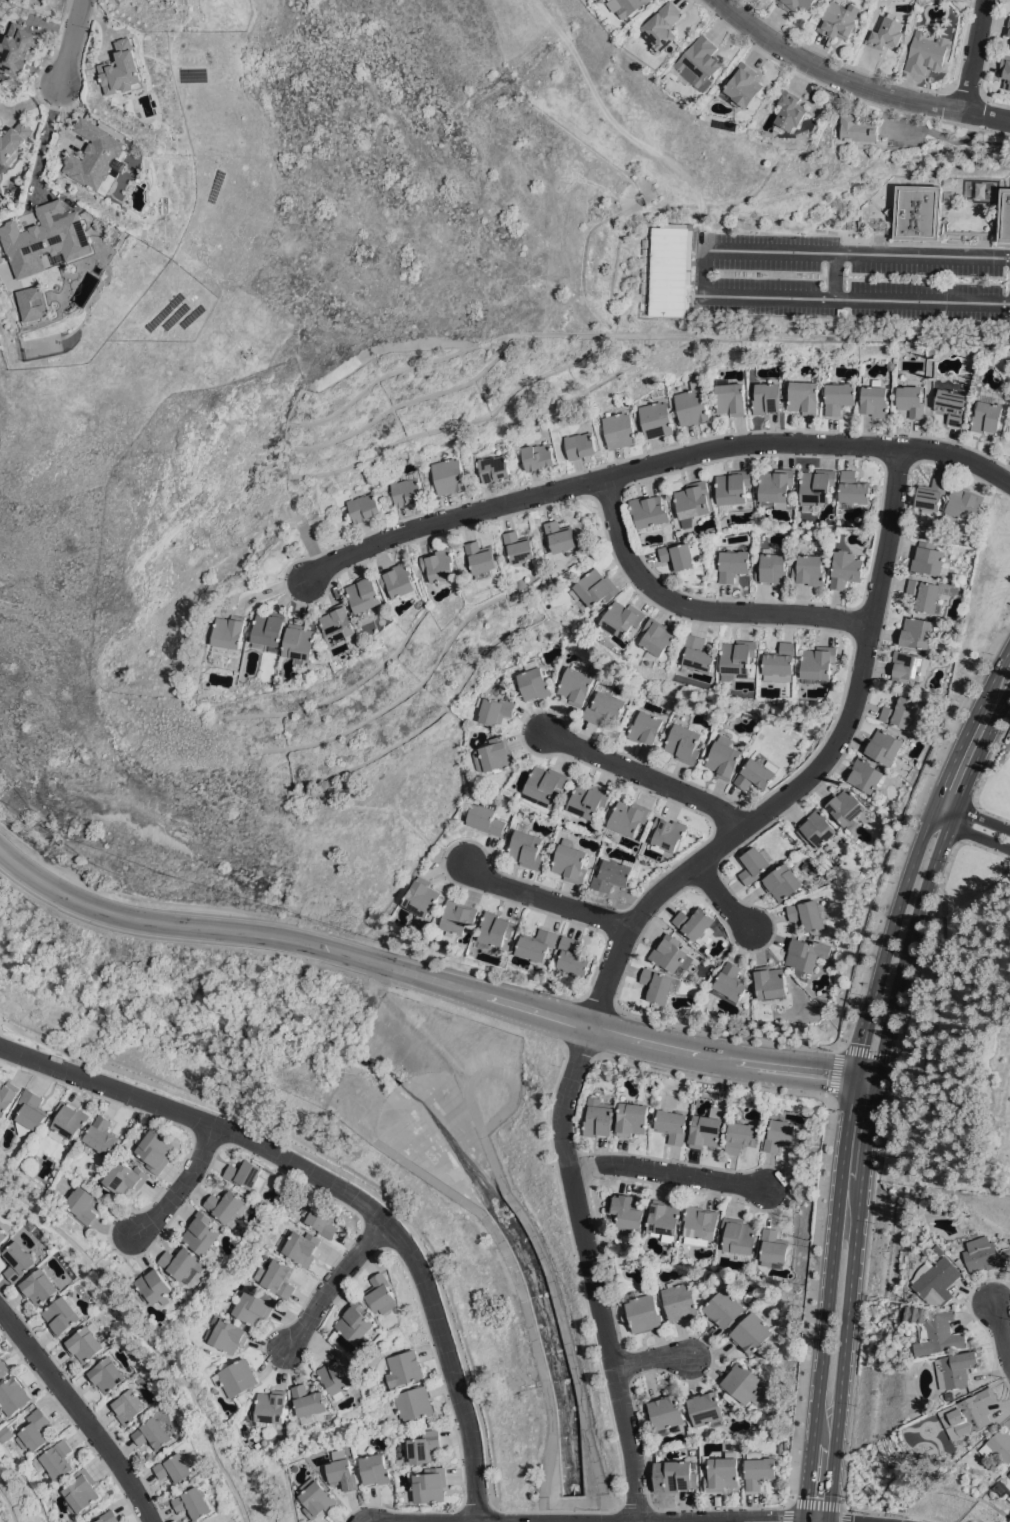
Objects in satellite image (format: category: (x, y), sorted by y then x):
building: (612, 0)
building: (795, 4)
building: (631, 6)
building: (839, 19)
building: (664, 26)
building: (1009, 29)
building: (886, 32)
road: (71, 41)
building: (18, 48)
building: (926, 52)
road: (973, 54)
building: (698, 63)
building: (122, 69)
building: (1006, 70)
road: (854, 81)
building: (743, 85)
road: (887, 101)
building: (790, 111)
road: (975, 119)
road: (947, 120)
road: (926, 127)
building: (858, 128)
road: (973, 128)
road: (46, 137)
building: (13, 142)
building: (96, 157)
building: (1, 202)
building: (916, 212)
building: (1004, 215)
building: (0, 223)
building: (46, 238)
building: (644, 242)
building: (643, 251)
building: (643, 259)
building: (643, 267)
building: (670, 268)
road: (703, 272)
road: (834, 274)
building: (643, 275)
building: (642, 286)
building: (34, 302)
road: (914, 334)
building: (889, 364)
road: (926, 391)
building: (729, 397)
building: (803, 397)
building: (839, 397)
building: (766, 398)
building: (874, 399)
building: (911, 400)
building: (692, 405)
building: (951, 405)
building: (987, 417)
building: (656, 419)
building: (618, 430)
building: (579, 445)
building: (537, 456)
road: (652, 465)
building: (493, 467)
road: (1007, 474)
building: (388, 475)
building: (449, 476)
building: (777, 487)
building: (817, 487)
building: (407, 489)
building: (733, 489)
building: (853, 490)
building: (932, 496)
building: (694, 501)
building: (964, 503)
building: (364, 506)
building: (650, 512)
building: (561, 538)
road: (308, 543)
building: (520, 546)
building: (682, 554)
building: (482, 558)
building: (929, 559)
building: (733, 564)
building: (441, 566)
building: (773, 567)
building: (845, 568)
building: (809, 570)
building: (401, 581)
building: (595, 588)
building: (366, 593)
building: (930, 593)
road: (697, 608)
building: (622, 619)
building: (340, 623)
building: (270, 630)
building: (915, 632)
building: (229, 633)
building: (658, 637)
building: (301, 642)
building: (699, 653)
building: (739, 657)
building: (781, 663)
building: (819, 663)
building: (909, 666)
road: (994, 676)
building: (533, 681)
building: (575, 686)
building: (604, 705)
building: (494, 710)
building: (901, 712)
building: (645, 727)
building: (684, 743)
building: (884, 746)
road: (981, 746)
road: (957, 752)
building: (495, 755)
road: (991, 756)
building: (724, 757)
building: (865, 774)
road: (644, 775)
building: (755, 775)
building: (545, 785)
building: (588, 800)
building: (845, 806)
road: (989, 811)
road: (973, 814)
building: (485, 817)
building: (628, 817)
road: (964, 819)
road: (911, 826)
building: (817, 828)
road: (969, 832)
building: (668, 834)
road: (983, 846)
building: (527, 847)
building: (571, 861)
building: (755, 863)
building: (614, 873)
building: (782, 882)
building: (422, 896)
road: (723, 896)
road: (543, 898)
road: (900, 900)
building: (807, 914)
building: (458, 917)
building: (696, 923)
building: (496, 929)
road: (620, 940)
road: (909, 941)
building: (538, 944)
building: (805, 953)
building: (671, 954)
building: (574, 957)
road: (421, 975)
building: (729, 983)
building: (657, 985)
building: (770, 985)
road: (1, 1019)
road: (414, 1026)
road: (718, 1032)
road: (862, 1040)
road: (843, 1048)
traffic signals: (854, 1077)
road: (705, 1078)
road: (865, 1079)
traffic signals: (876, 1081)
building: (7, 1095)
building: (30, 1112)
building: (599, 1118)
building: (632, 1118)
building: (68, 1121)
building: (672, 1125)
road: (869, 1131)
building: (704, 1132)
building: (778, 1134)
building: (101, 1135)
building: (741, 1136)
road: (846, 1136)
building: (156, 1150)
road: (877, 1168)
building: (245, 1172)
road: (668, 1172)
road: (349, 1173)
building: (126, 1178)
road: (181, 1185)
road: (343, 1188)
building: (81, 1202)
building: (226, 1205)
building: (629, 1213)
building: (665, 1219)
building: (324, 1220)
building: (701, 1225)
building: (202, 1233)
building: (3, 1235)
building: (739, 1237)
road: (536, 1241)
building: (300, 1245)
building: (774, 1248)
building: (940, 1249)
building: (985, 1254)
building: (19, 1261)
building: (184, 1263)
building: (961, 1263)
building: (277, 1277)
building: (937, 1280)
road: (333, 1281)
road: (517, 1281)
building: (40, 1286)
building: (154, 1286)
building: (382, 1293)
road: (811, 1299)
building: (680, 1301)
building: (254, 1306)
building: (723, 1308)
building: (644, 1311)
building: (64, 1314)
building: (356, 1321)
road: (1003, 1329)
building: (750, 1332)
building: (225, 1334)
building: (940, 1337)
building: (87, 1343)
road: (843, 1351)
road: (650, 1357)
road: (822, 1358)
building: (3, 1367)
building: (406, 1367)
building: (957, 1368)
building: (109, 1374)
building: (338, 1374)
building: (236, 1377)
building: (744, 1383)
building: (14, 1395)
building: (309, 1402)
building: (413, 1403)
building: (131, 1406)
building: (271, 1407)
building: (706, 1409)
building: (667, 1411)
building: (1, 1412)
road: (81, 1412)
building: (971, 1413)
building: (35, 1430)
building: (5, 1433)
building: (155, 1433)
building: (999, 1445)
building: (424, 1446)
building: (55, 1460)
building: (176, 1467)
building: (375, 1469)
building: (759, 1469)
building: (341, 1472)
building: (722, 1472)
building: (1009, 1473)
building: (680, 1476)
building: (428, 1485)
building: (81, 1491)
traffic signals: (808, 1495)
building: (315, 1497)
building: (195, 1502)
road: (816, 1504)
road: (894, 1511)
road: (496, 1515)
building: (108, 1516)
traffic signals: (778, 1520)
road: (470, 1521)
road: (544, 1521)
road: (573, 1521)
road: (706, 1521)

